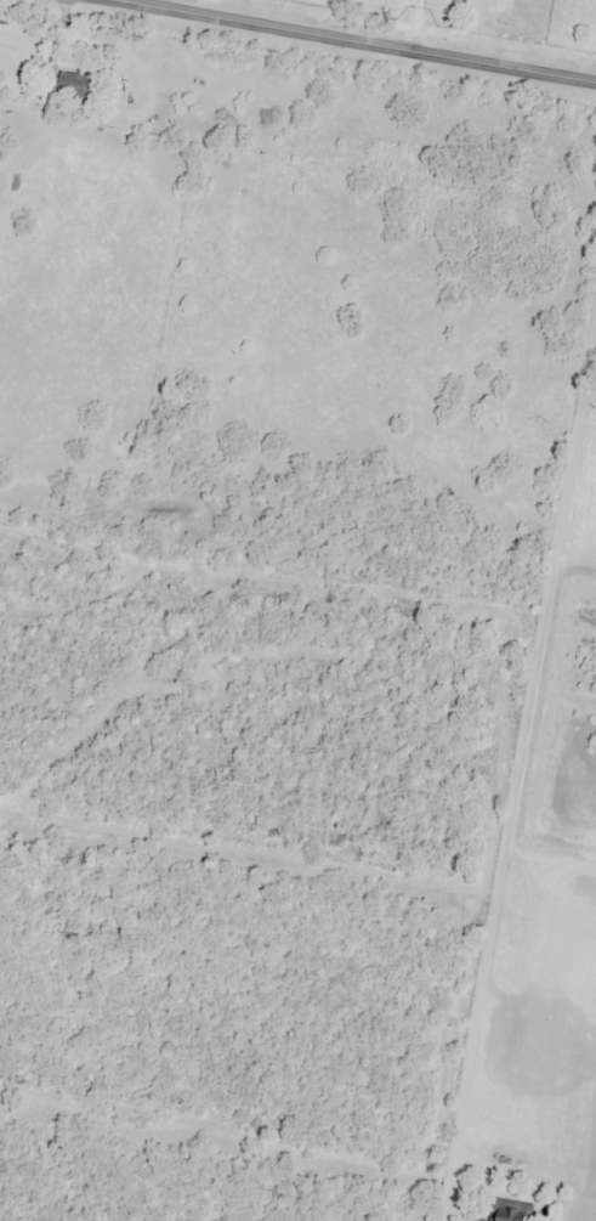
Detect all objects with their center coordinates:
road: (357, 40)
building: (69, 85)
building: (505, 1210)

